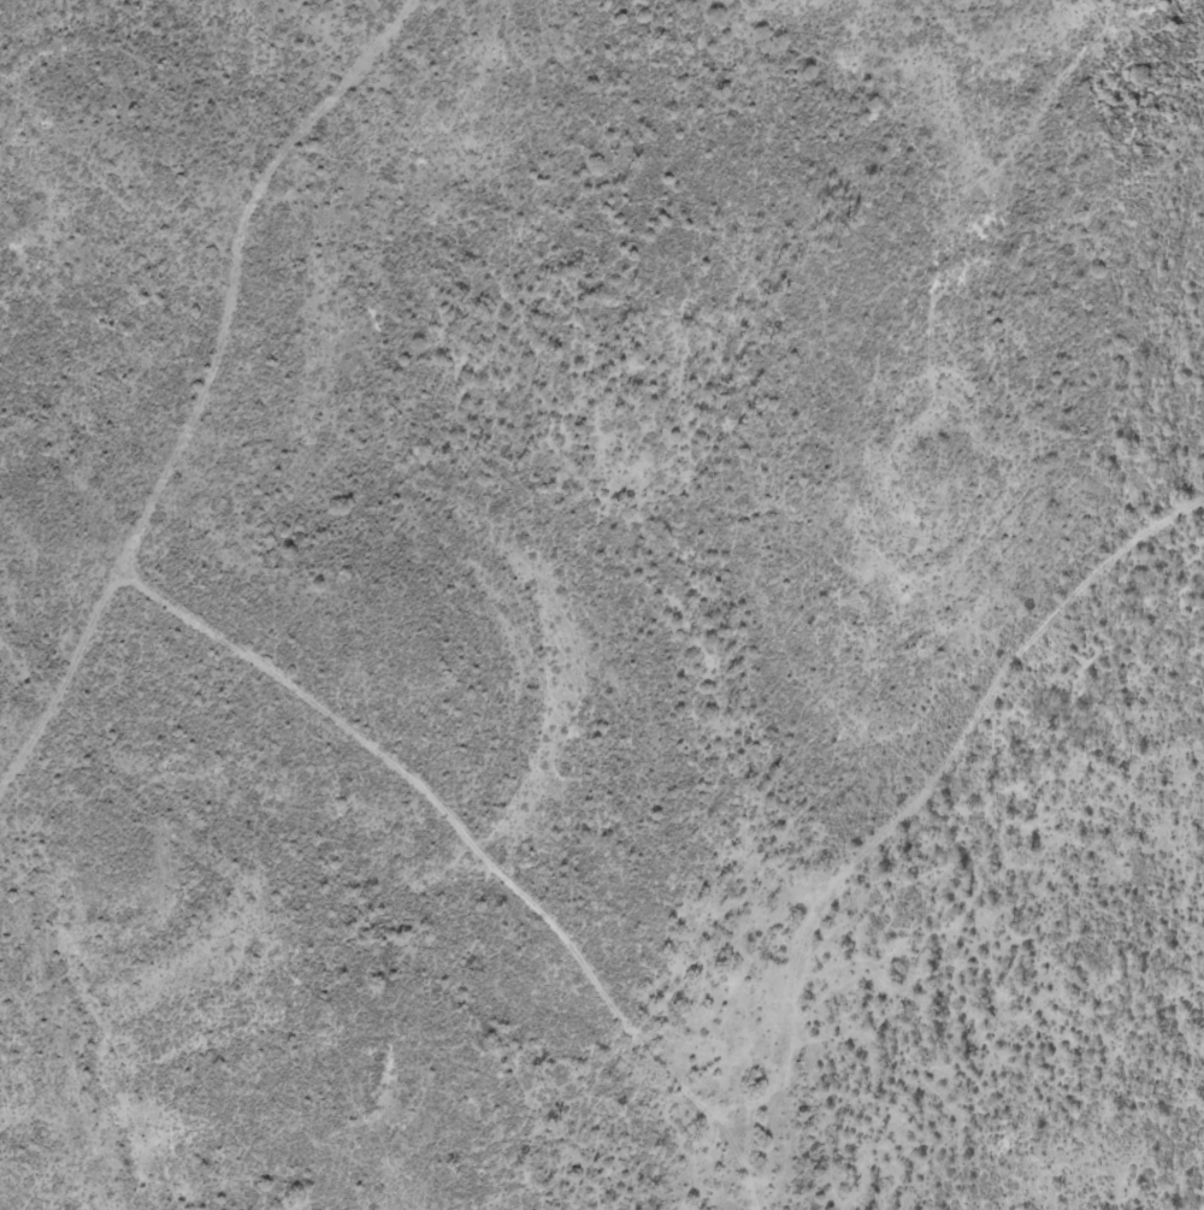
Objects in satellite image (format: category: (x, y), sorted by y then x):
road: (207, 392)
road: (907, 810)
road: (488, 846)

